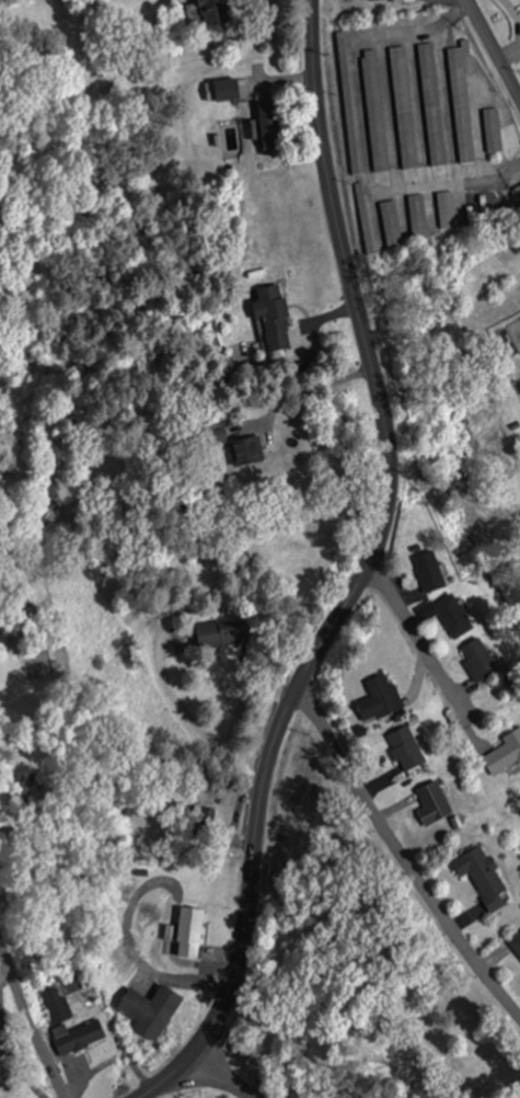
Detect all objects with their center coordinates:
building: (373, 0)
building: (211, 12)
road: (492, 53)
building: (221, 90)
building: (460, 101)
building: (346, 102)
building: (430, 104)
building: (402, 107)
building: (373, 110)
building: (266, 123)
building: (492, 129)
building: (444, 209)
building: (416, 216)
building: (362, 217)
building: (389, 221)
building: (271, 314)
building: (245, 449)
building: (428, 570)
road: (358, 573)
building: (450, 611)
building: (220, 632)
road: (414, 637)
building: (477, 659)
building: (379, 697)
building: (405, 747)
building: (504, 753)
building: (432, 802)
road: (400, 857)
building: (482, 878)
building: (186, 930)
building: (516, 945)
building: (150, 1010)
road: (28, 1026)
building: (71, 1054)
road: (220, 1072)

